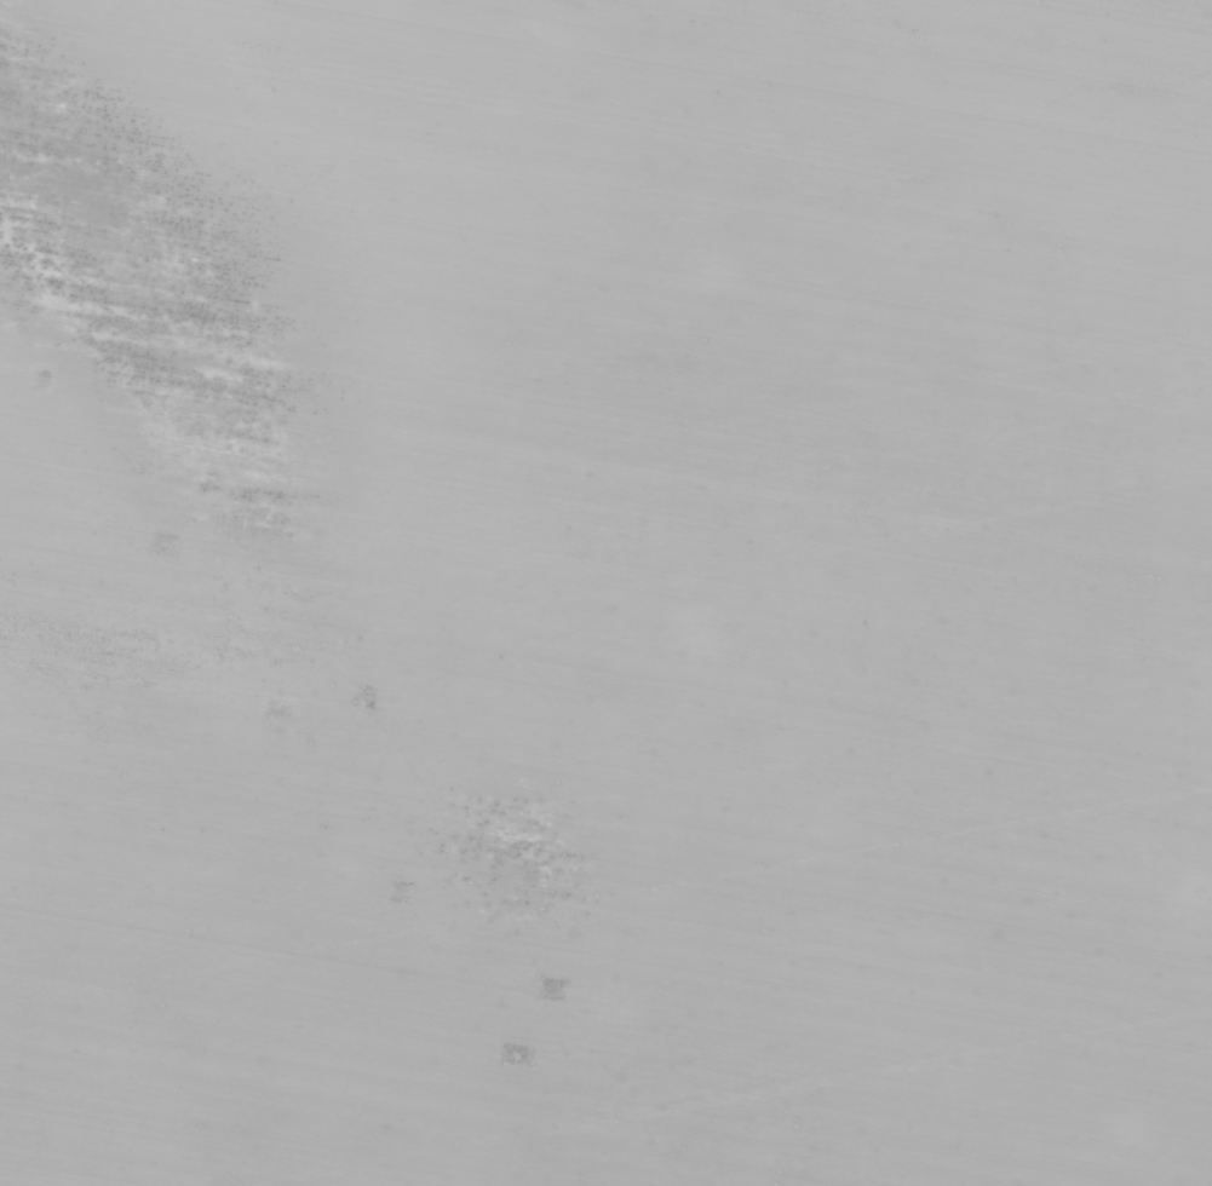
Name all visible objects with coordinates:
landfill: (87, 477)

